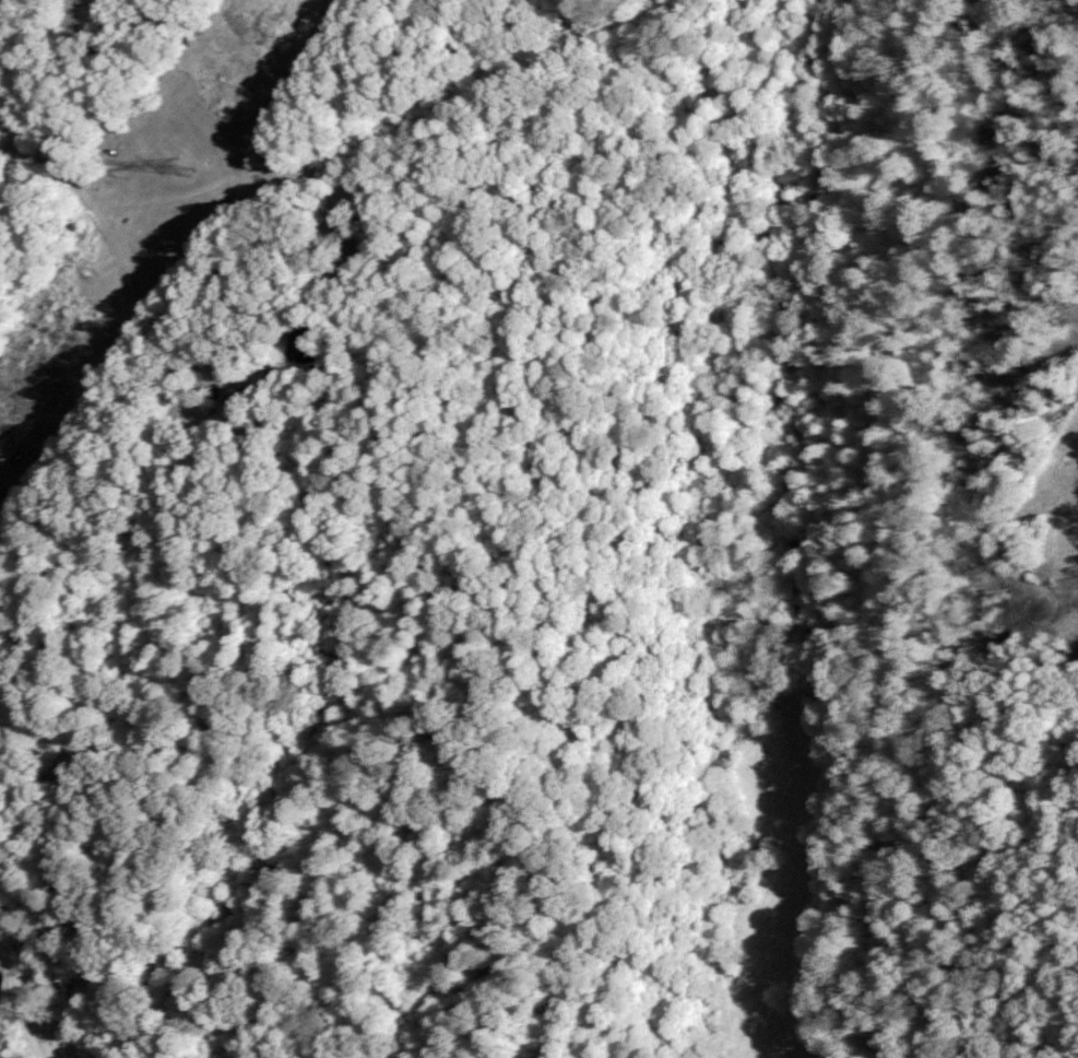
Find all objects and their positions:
building: (76, 14)
power tower: (183, 165)
road: (105, 222)
road: (208, 402)

